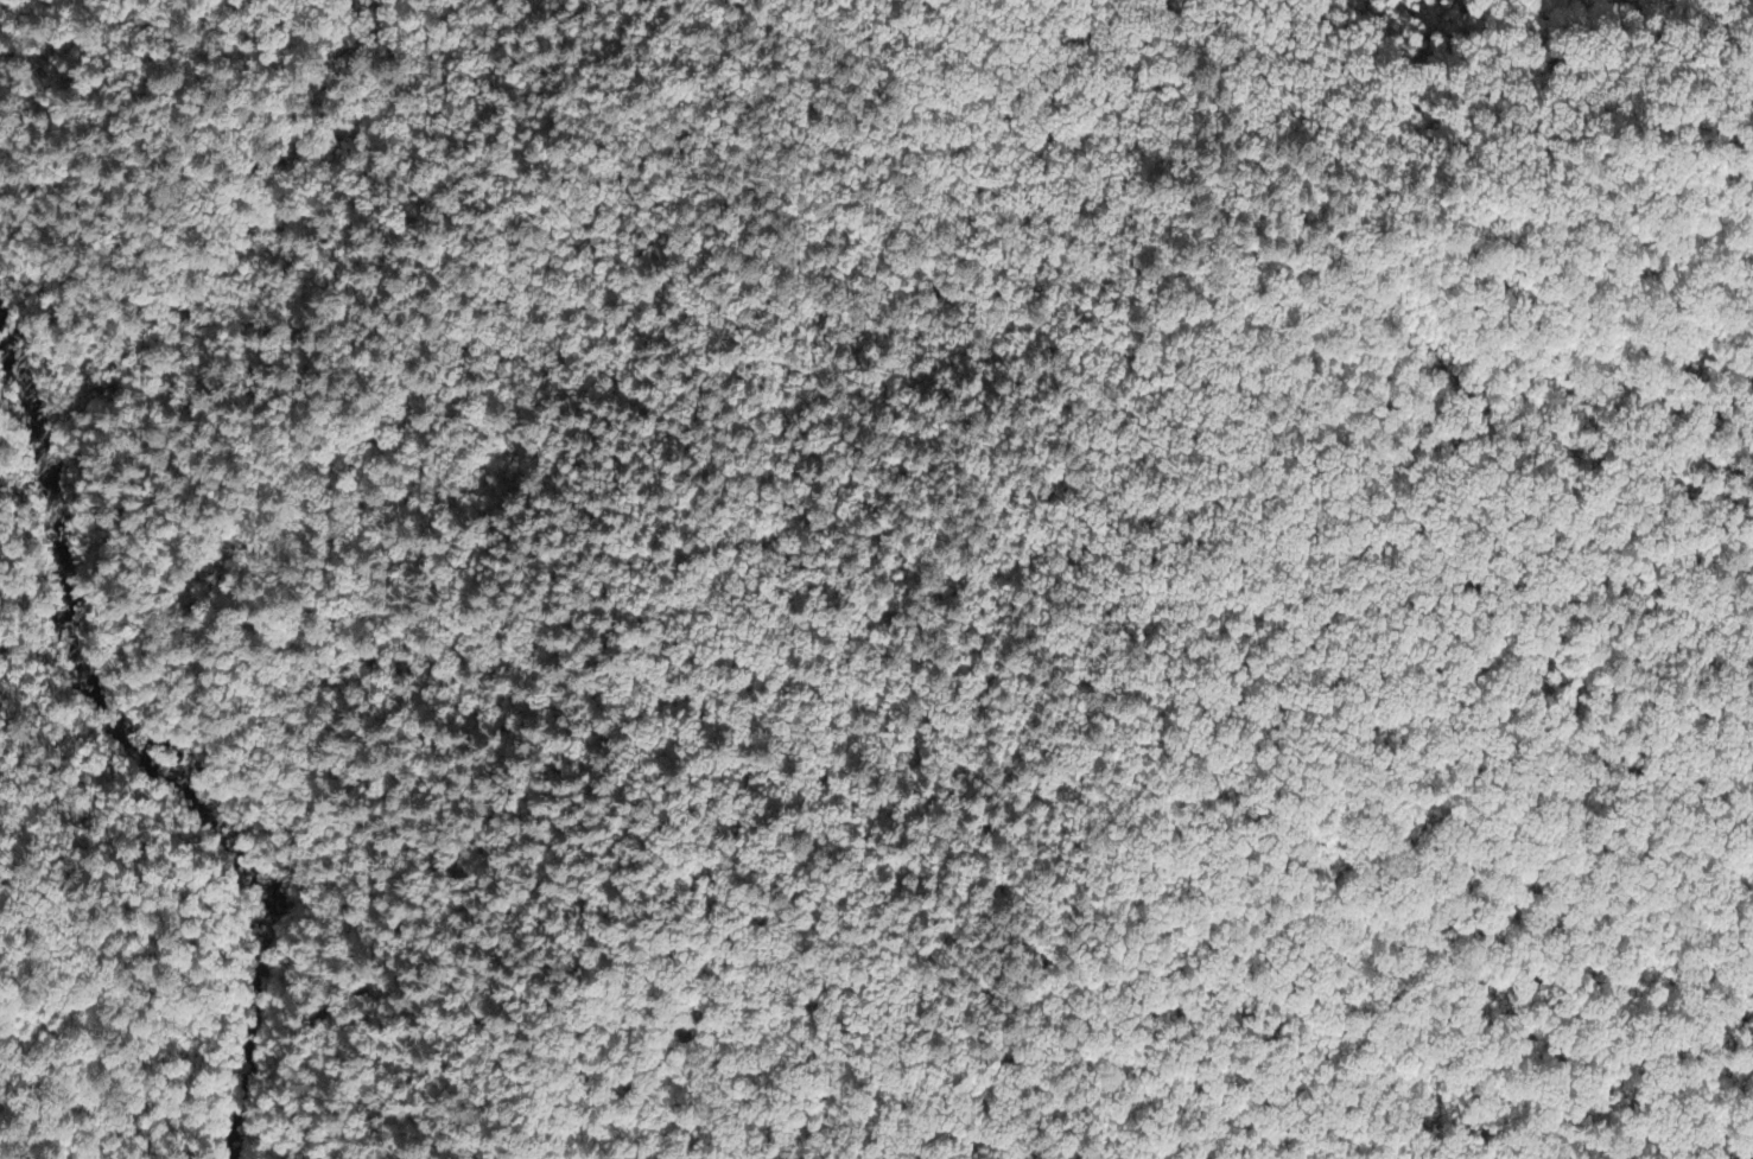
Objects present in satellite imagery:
river: (163, 771)
road: (6, 966)

